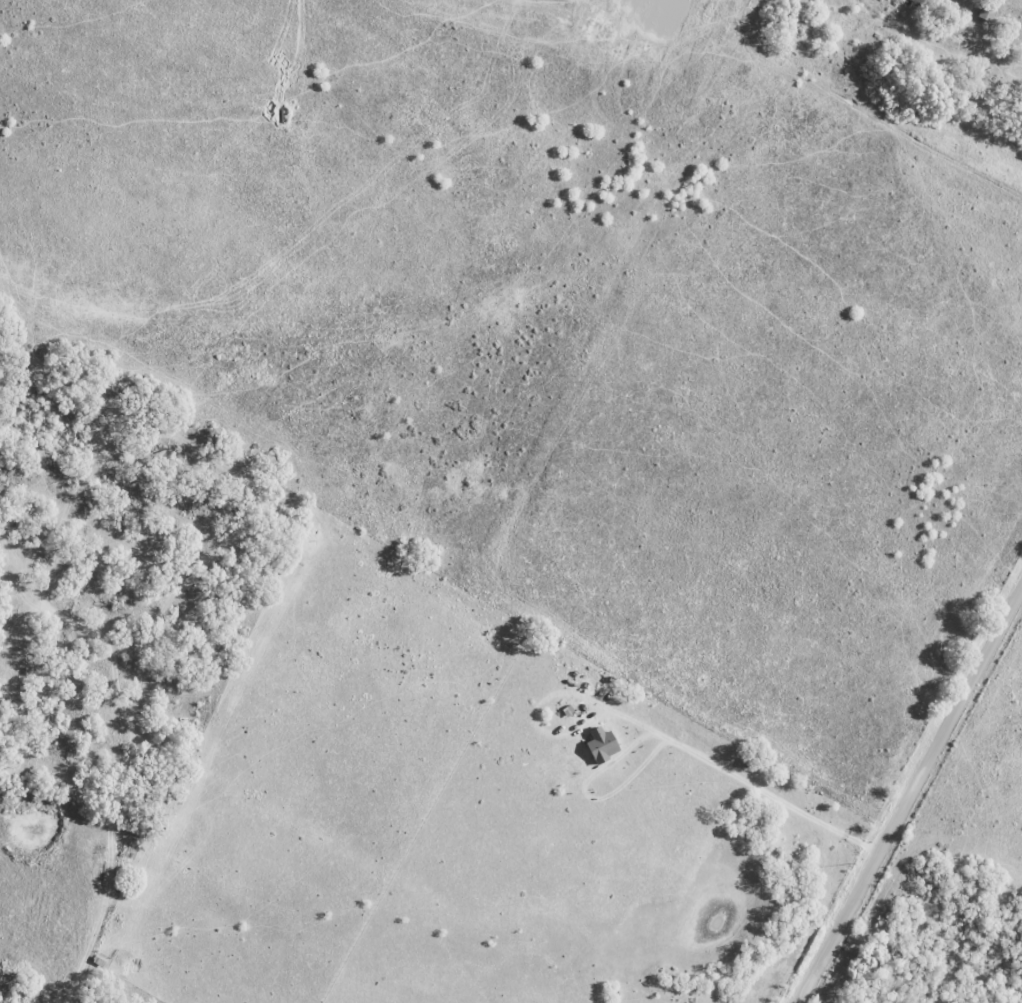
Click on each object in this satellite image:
building: (605, 745)
road: (742, 776)
road: (906, 791)

